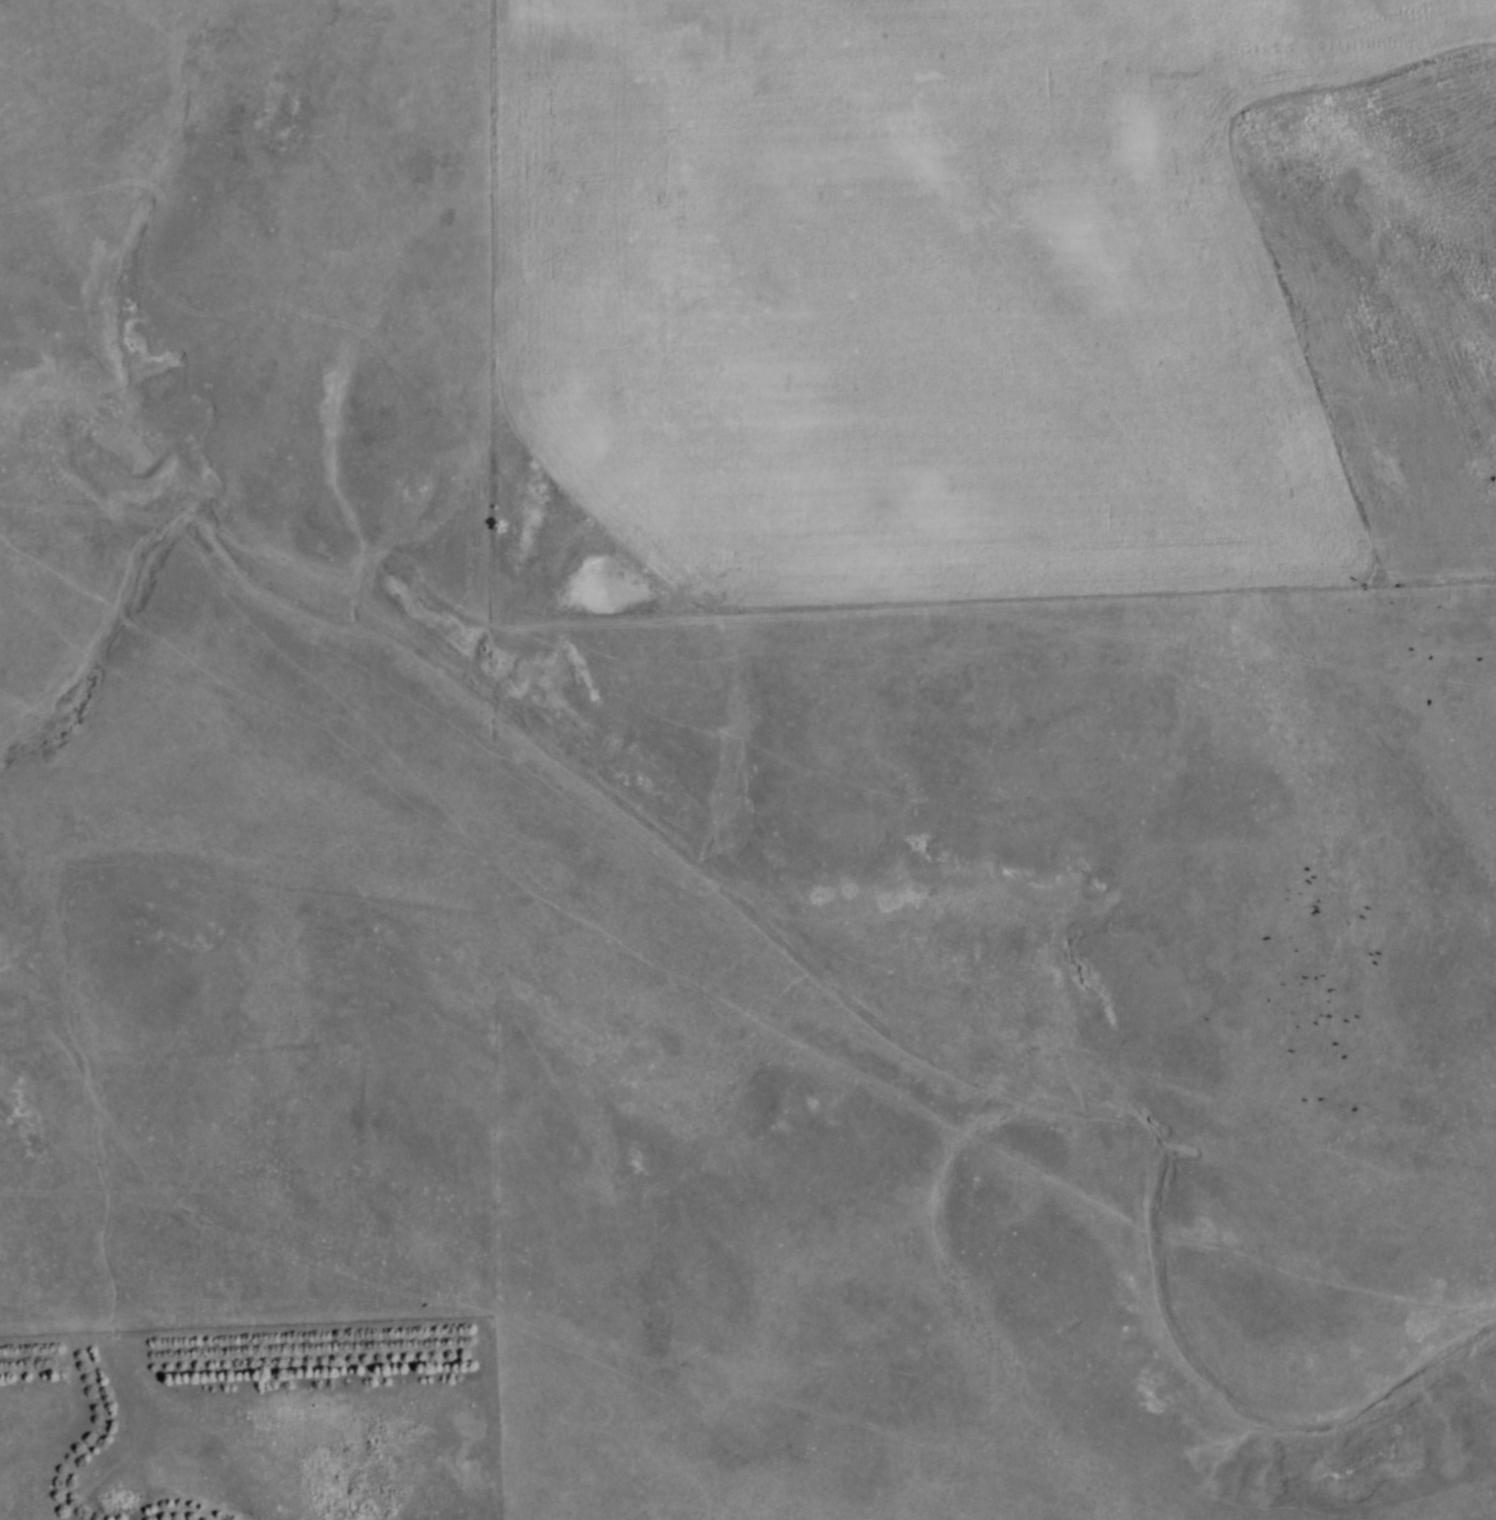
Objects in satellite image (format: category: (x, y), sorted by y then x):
crop: (920, 288)

